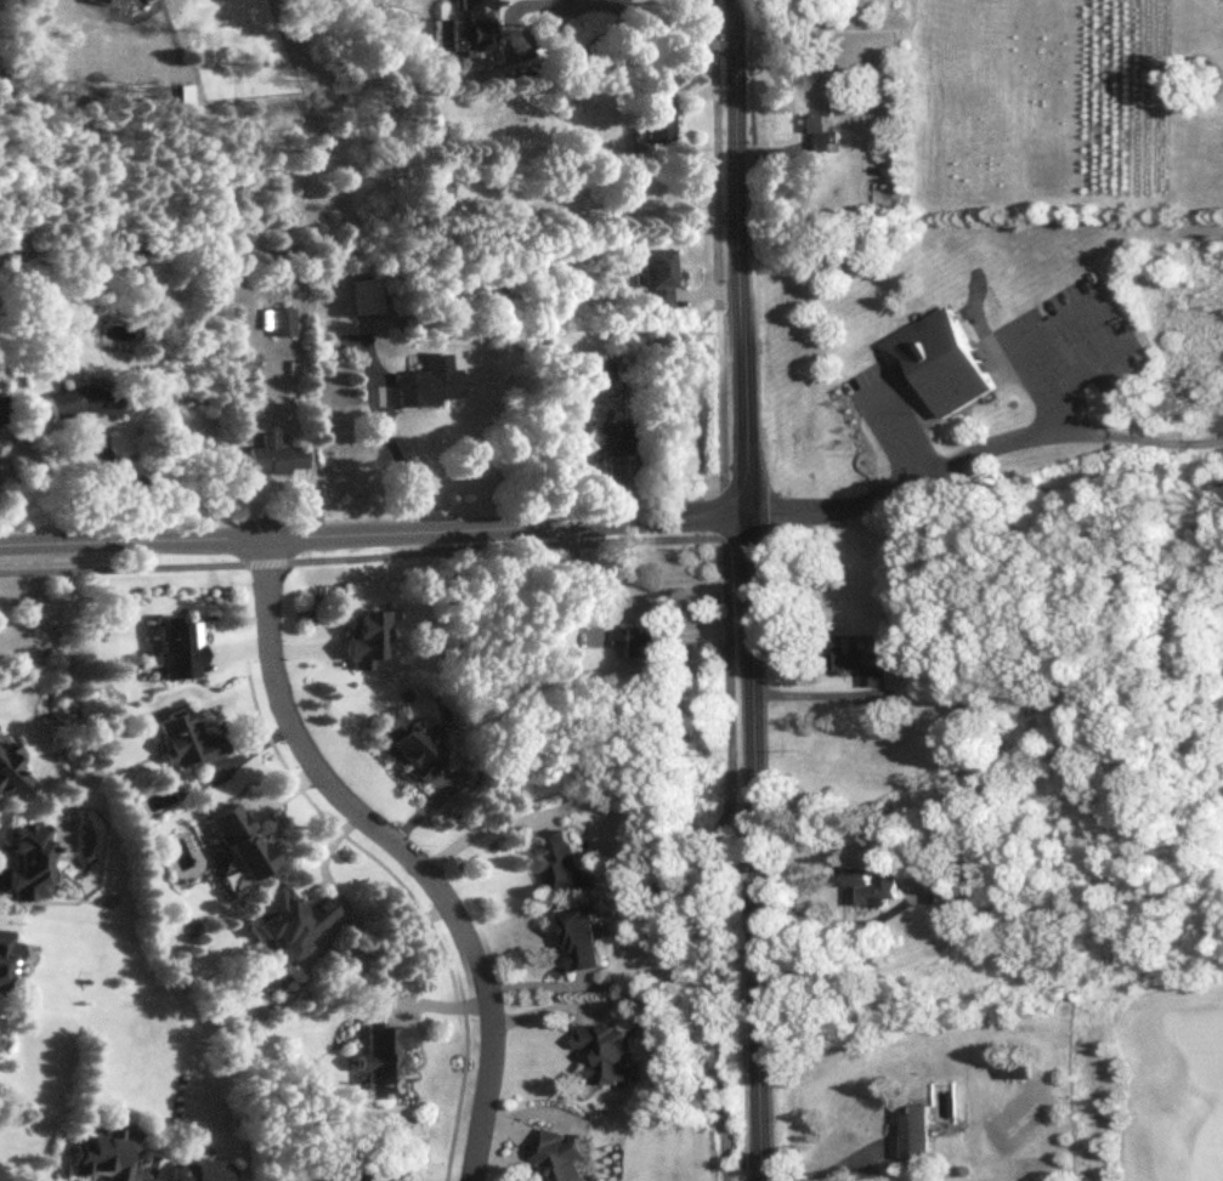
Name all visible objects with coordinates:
road: (573, 1)
building: (104, 2)
building: (659, 114)
building: (819, 130)
road: (717, 157)
building: (662, 279)
building: (368, 303)
road: (1078, 308)
building: (284, 322)
building: (940, 362)
building: (430, 382)
road: (721, 397)
building: (83, 402)
building: (1, 411)
road: (900, 435)
building: (608, 437)
road: (980, 449)
building: (278, 455)
road: (406, 465)
road: (155, 482)
road: (723, 496)
road: (373, 533)
road: (362, 558)
road: (747, 590)
building: (640, 643)
building: (855, 665)
road: (812, 694)
building: (187, 740)
building: (412, 746)
building: (1074, 770)
building: (11, 777)
road: (477, 829)
building: (240, 842)
road: (717, 846)
road: (400, 847)
park: (1171, 856)
building: (565, 861)
building: (32, 862)
building: (872, 888)
building: (941, 890)
building: (290, 922)
building: (582, 941)
building: (7, 955)
building: (606, 1054)
building: (386, 1061)
building: (1017, 1071)
building: (915, 1132)
building: (560, 1158)
building: (102, 1159)
road: (823, 1168)
building: (204, 1171)
building: (356, 1177)

